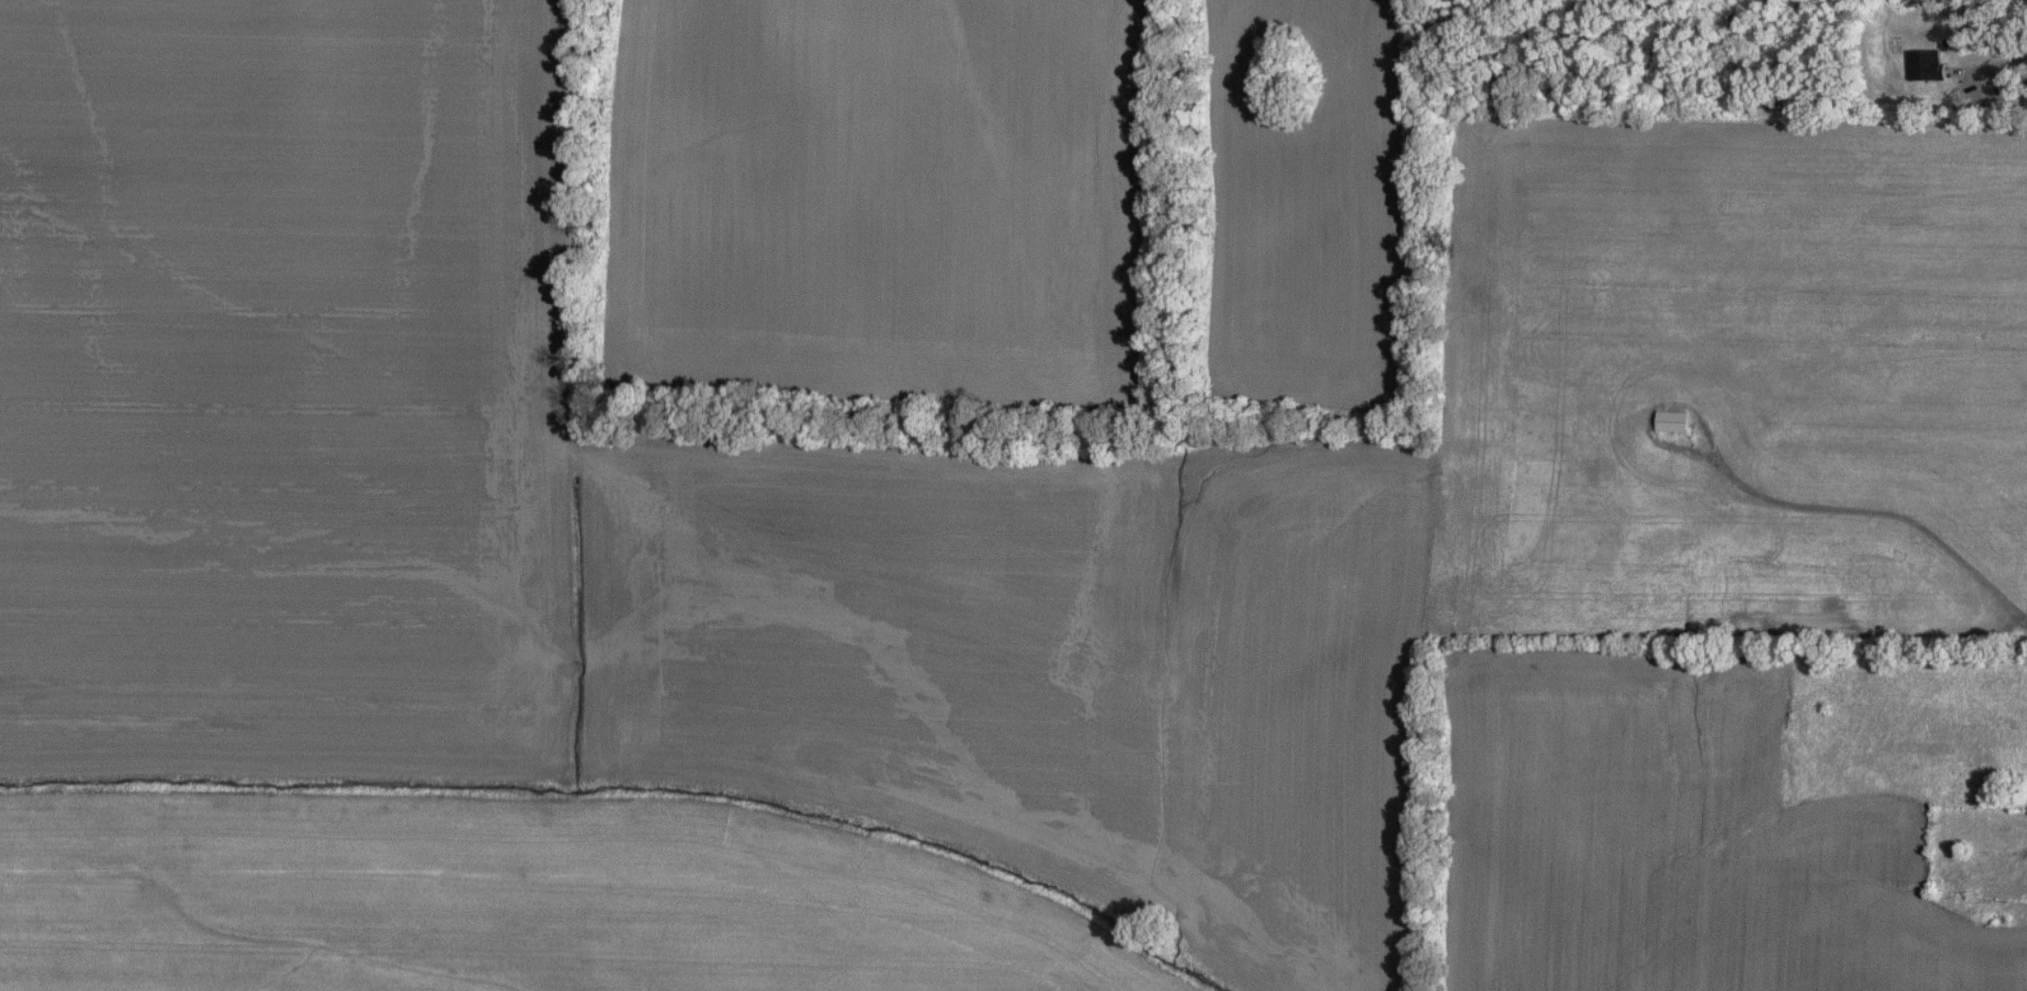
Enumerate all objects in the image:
road: (2001, 64)
building: (1672, 422)

